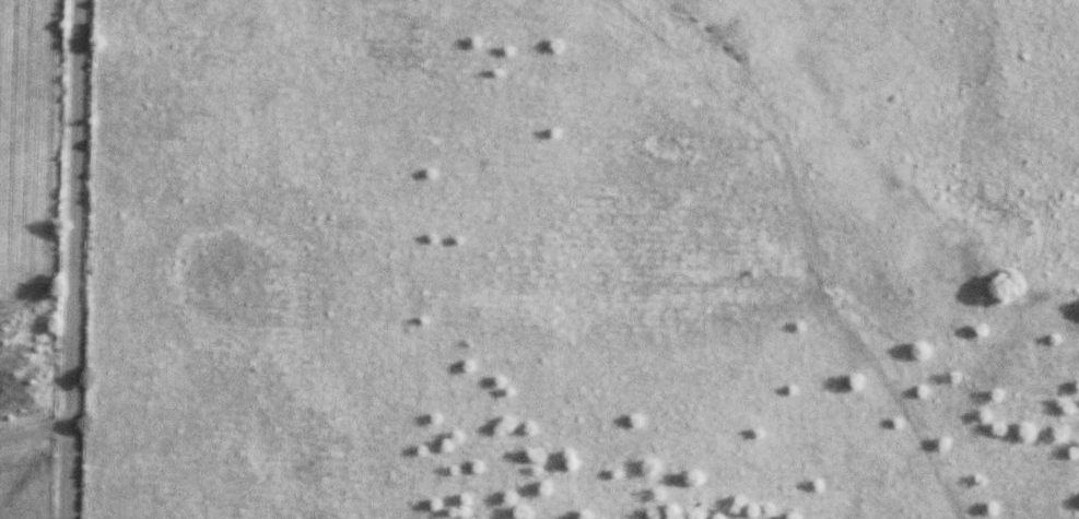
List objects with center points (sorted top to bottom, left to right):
road: (72, 259)
road: (34, 436)

